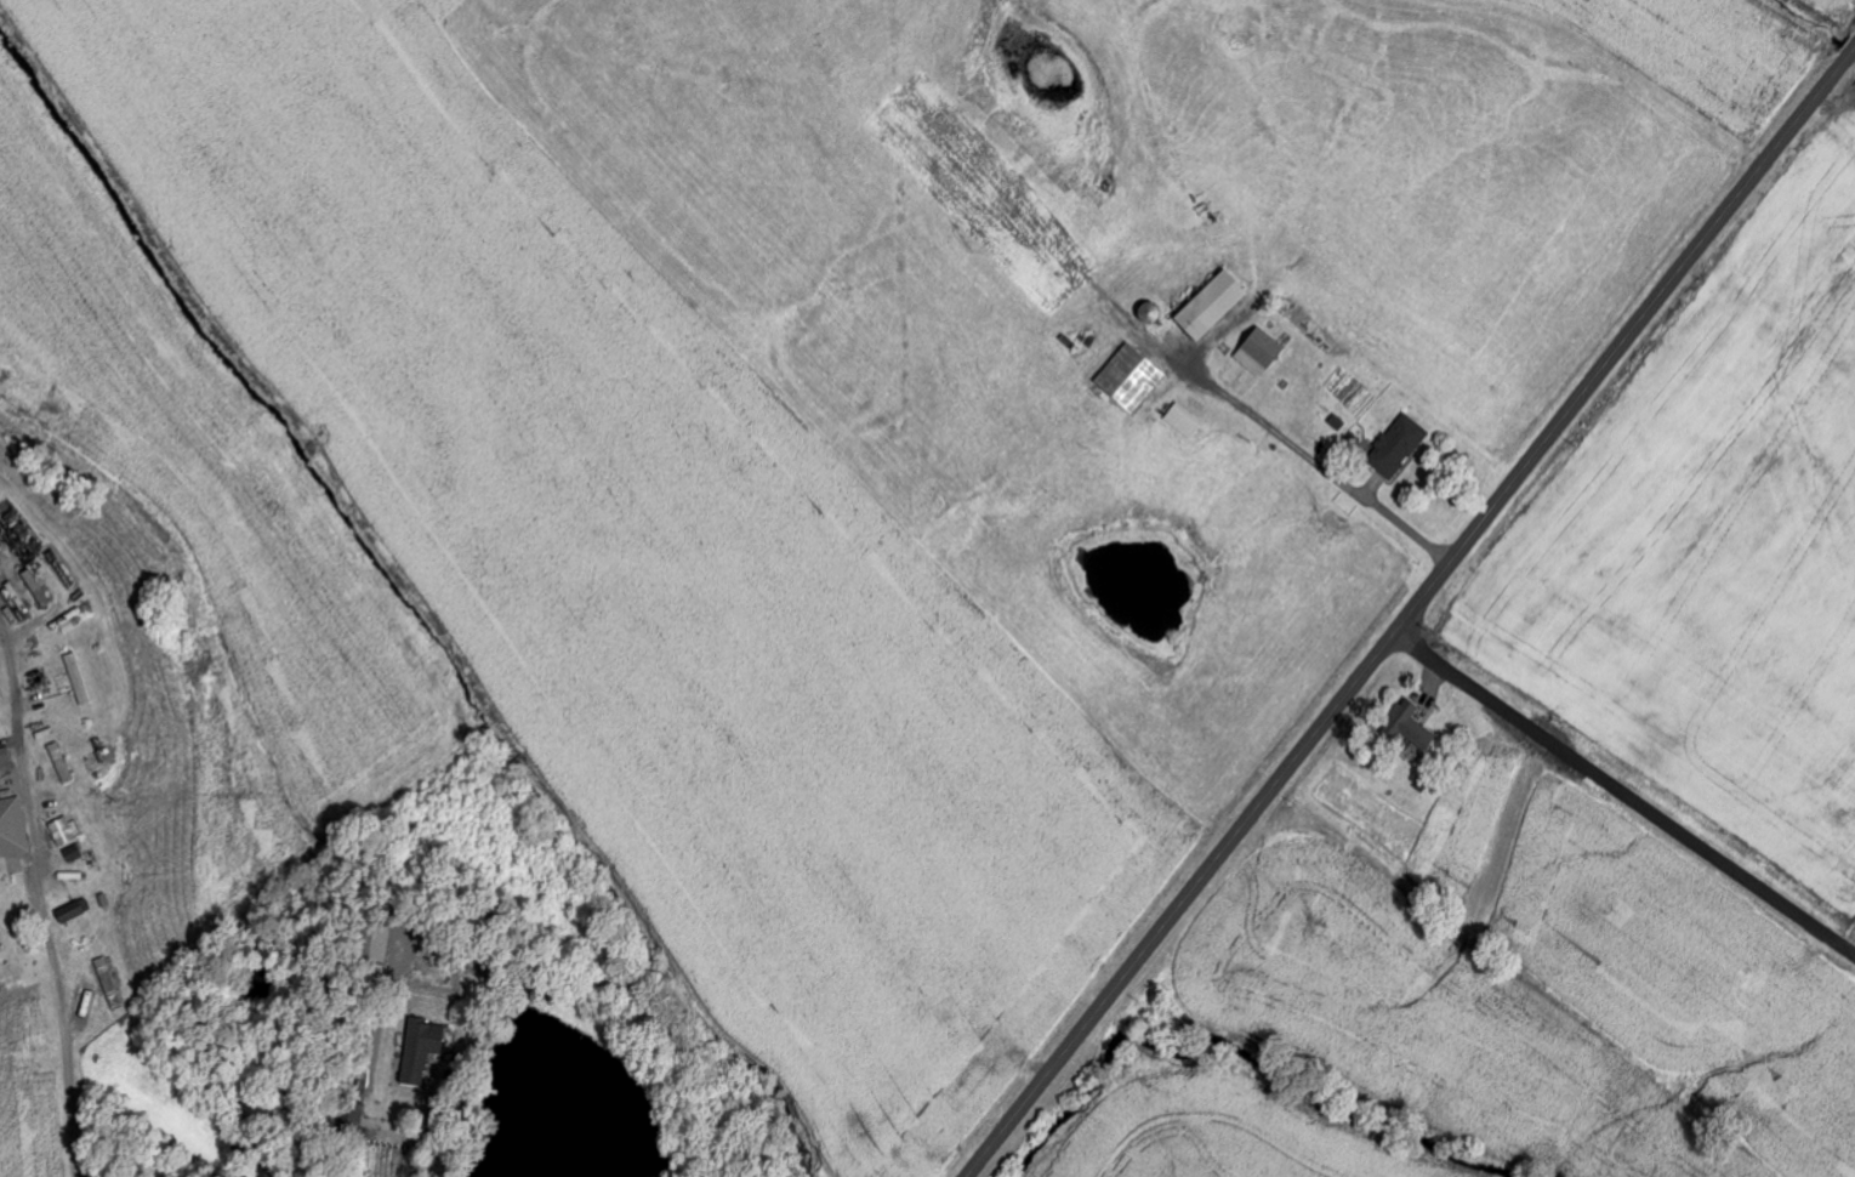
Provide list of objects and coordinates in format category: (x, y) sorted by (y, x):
building: (1214, 305)
building: (1262, 352)
building: (1132, 379)
building: (1185, 421)
building: (1399, 447)
road: (1412, 613)
building: (1412, 724)
building: (63, 763)
road: (1626, 792)
building: (13, 829)
building: (64, 832)
building: (76, 911)
building: (86, 1006)
road: (62, 1028)
building: (425, 1046)

